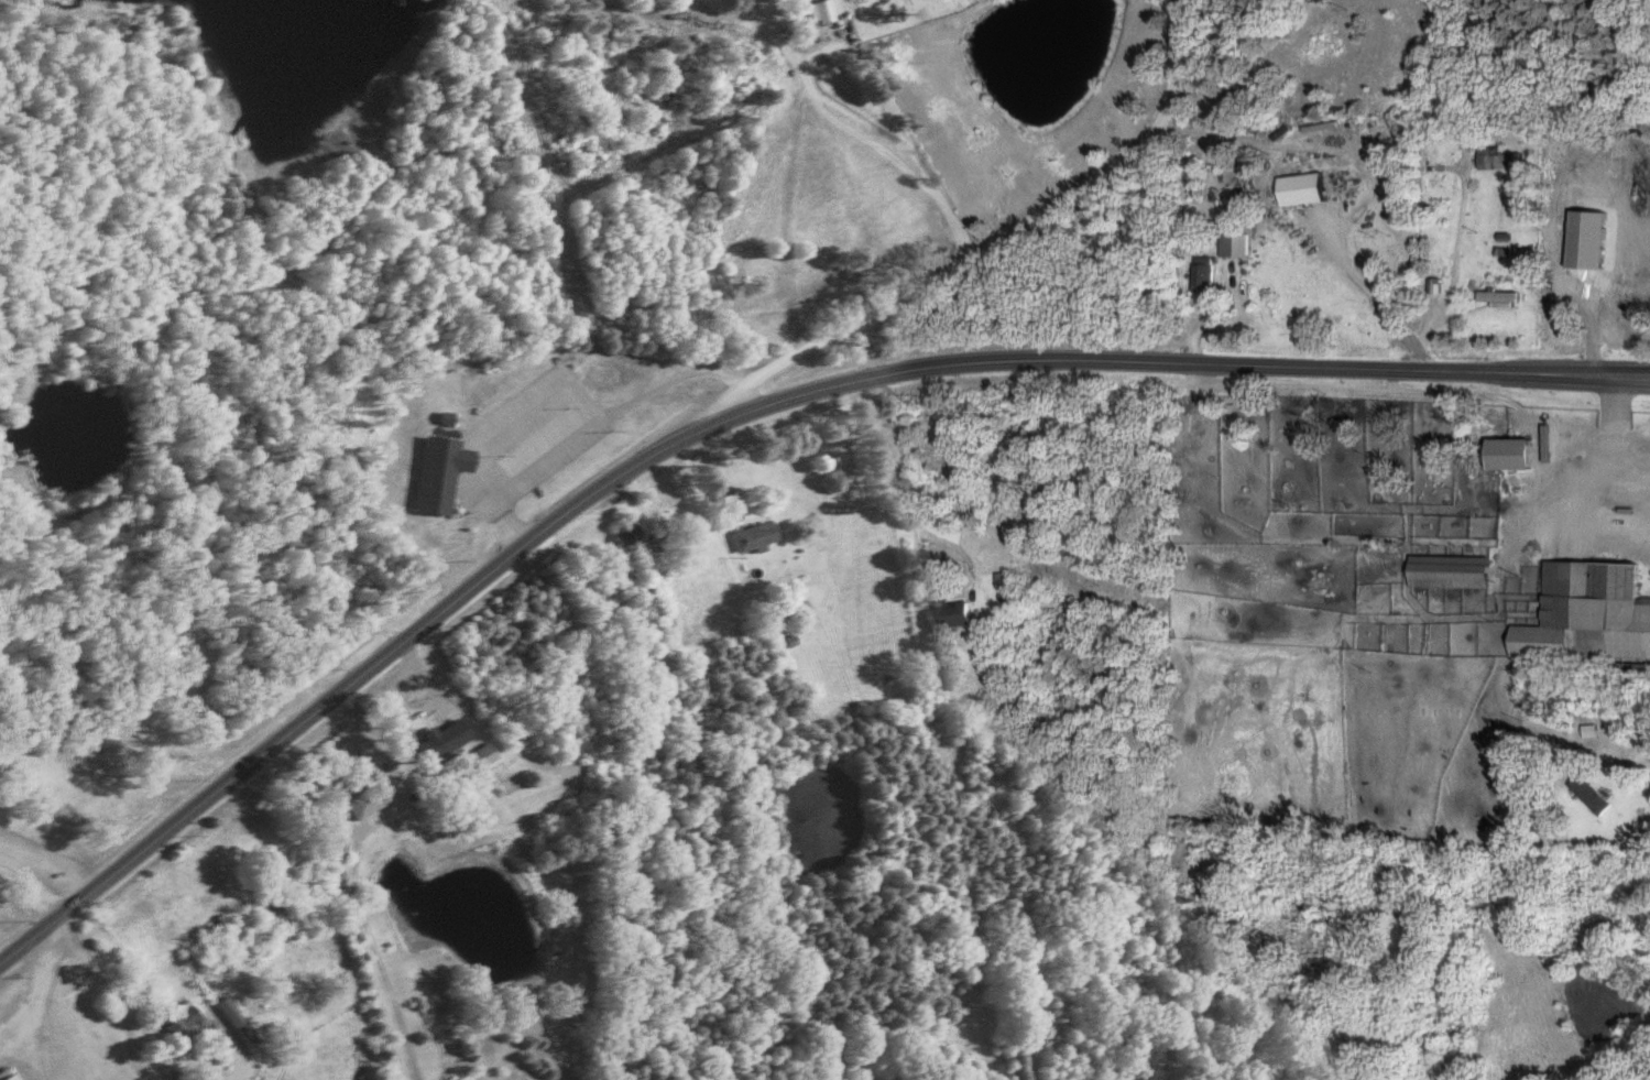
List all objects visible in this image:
building: (830, 10)
road: (911, 145)
building: (1505, 157)
building: (1311, 188)
building: (1242, 244)
road: (968, 265)
building: (1212, 273)
building: (1509, 297)
road: (737, 417)
building: (1518, 454)
building: (447, 472)
road: (908, 497)
building: (758, 535)
building: (1456, 571)
building: (1594, 612)
building: (957, 615)
building: (448, 739)
building: (488, 754)
building: (364, 763)
building: (1598, 795)
building: (372, 799)
road: (33, 886)
road: (122, 1001)
building: (243, 1019)
building: (187, 1023)
building: (226, 1047)
building: (17, 1077)

